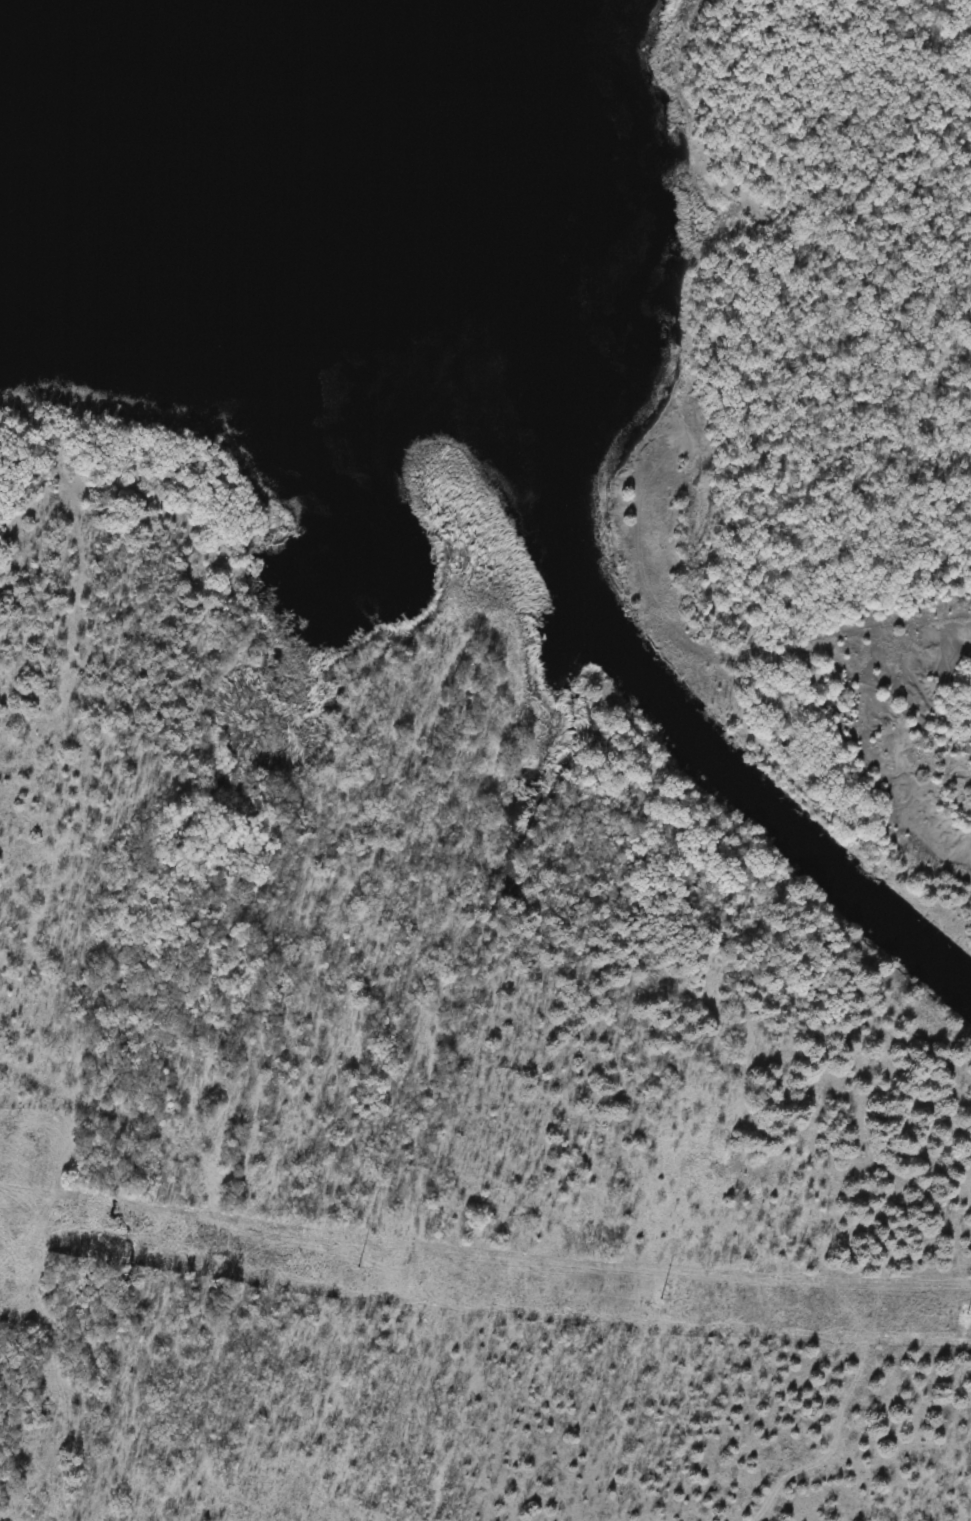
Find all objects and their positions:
power tower: (358, 1268)
power tower: (659, 1299)
power tower: (966, 1315)

